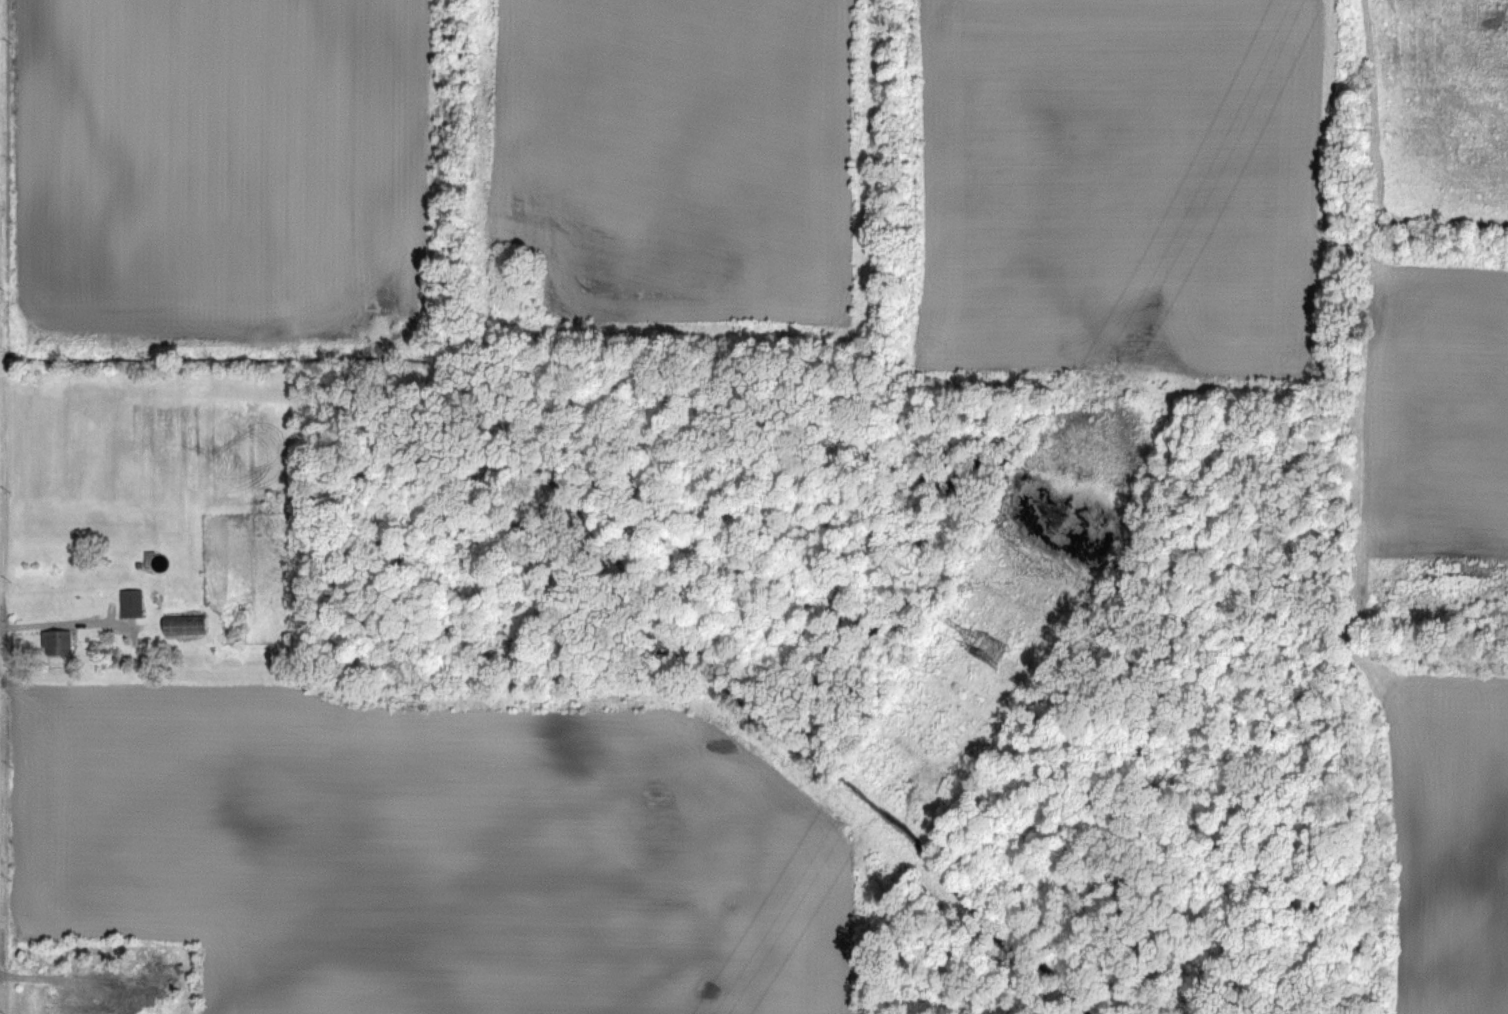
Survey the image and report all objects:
road: (1327, 60)
building: (57, 641)
power tower: (990, 657)

